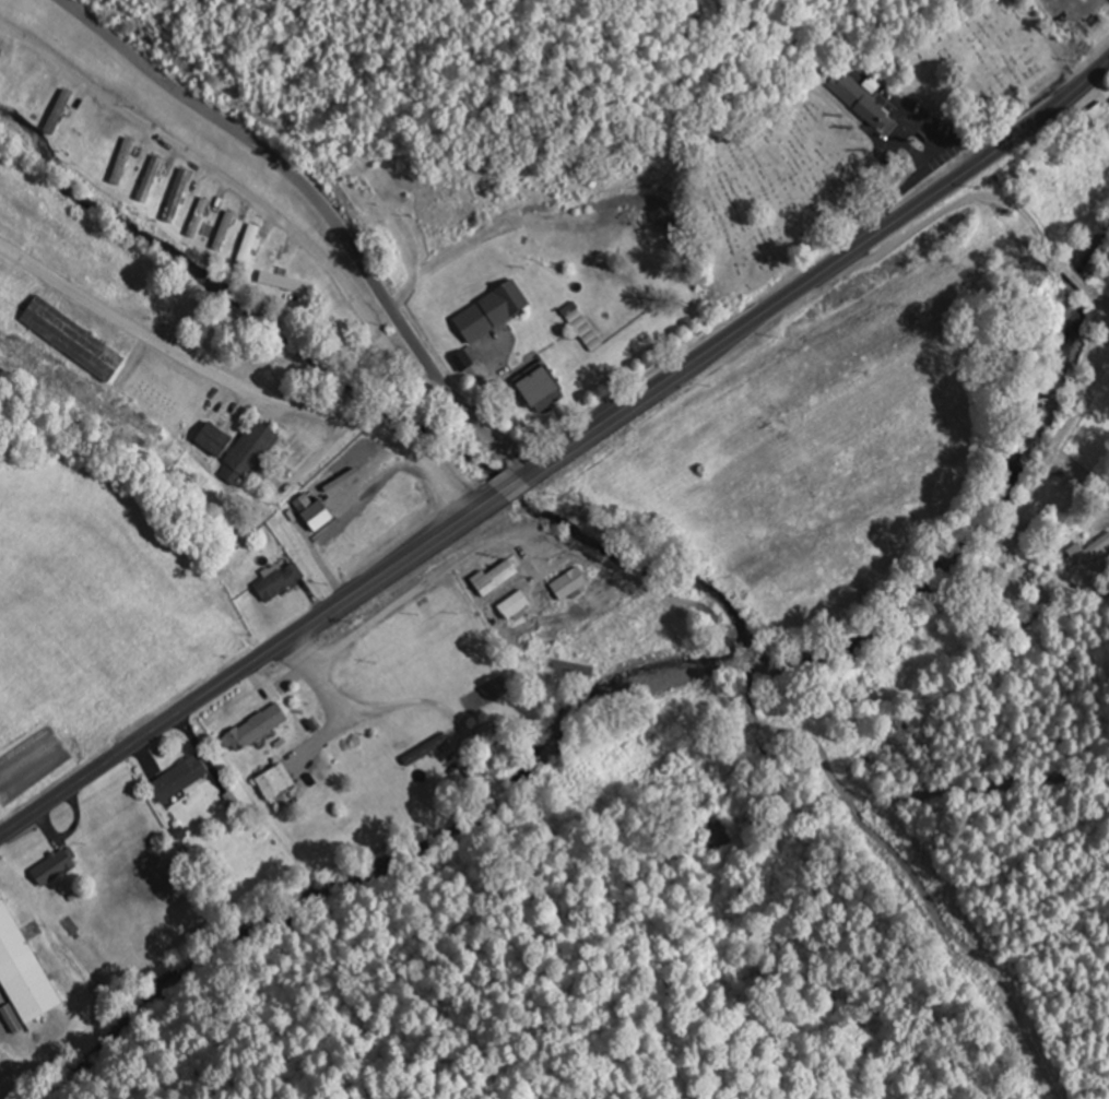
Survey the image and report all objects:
building: (13, 76)
building: (39, 85)
building: (858, 97)
building: (59, 111)
building: (151, 179)
building: (177, 199)
road: (952, 205)
road: (327, 211)
building: (247, 247)
building: (272, 260)
road: (1077, 277)
road: (1100, 296)
building: (495, 311)
building: (585, 327)
building: (74, 339)
building: (468, 358)
building: (545, 387)
road: (1057, 449)
building: (240, 450)
road: (558, 453)
building: (314, 500)
building: (1086, 549)
building: (482, 574)
building: (281, 580)
building: (435, 626)
building: (258, 726)
building: (895, 735)
building: (426, 748)
building: (182, 777)
building: (278, 779)
building: (716, 830)
building: (56, 866)
building: (24, 968)

